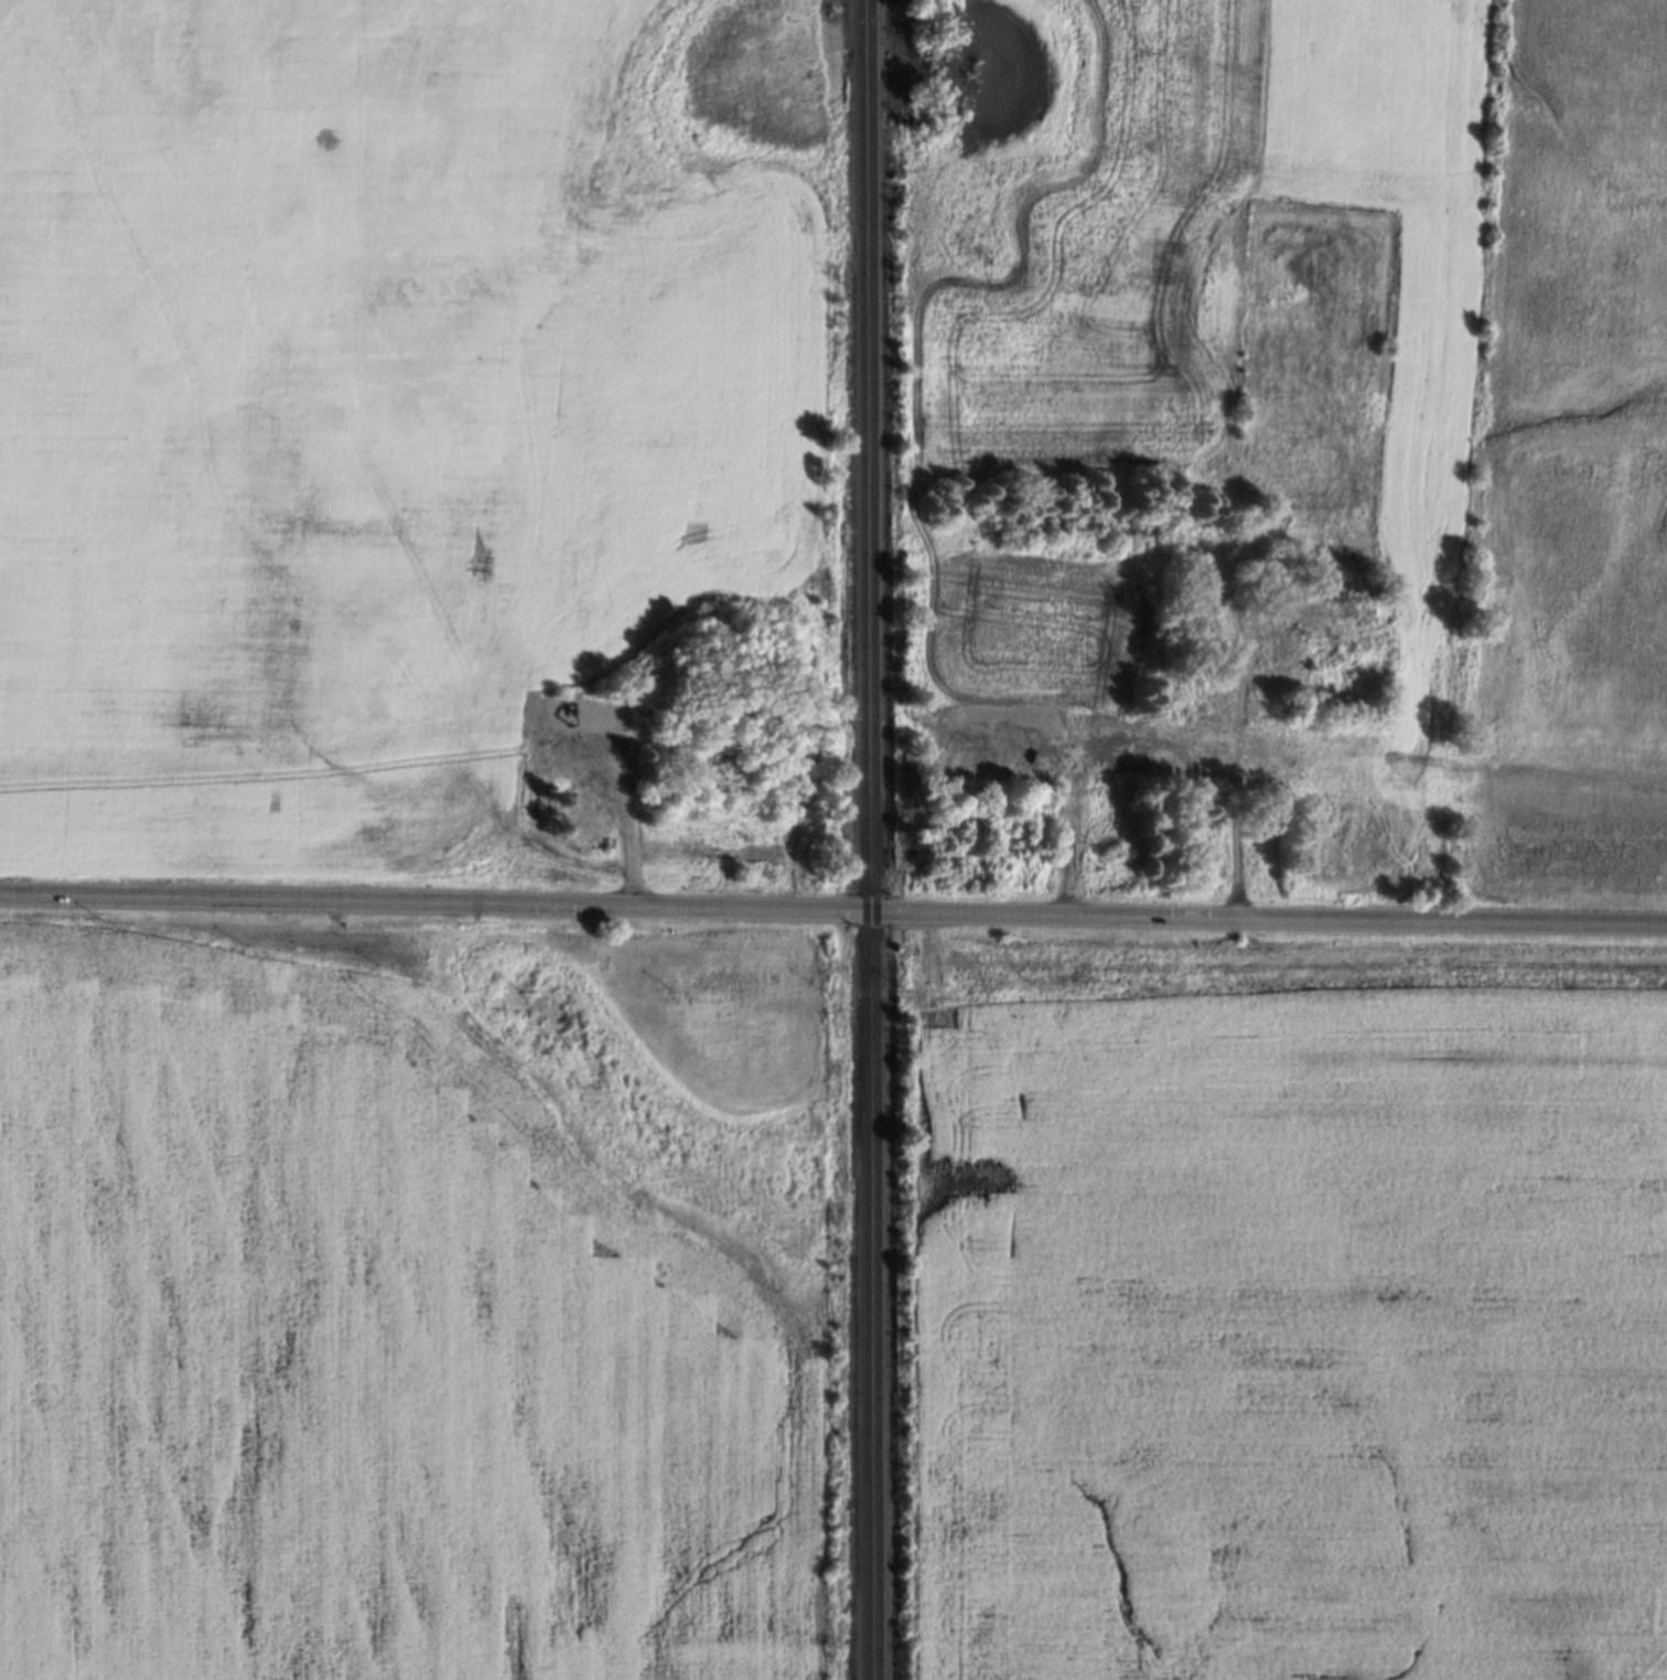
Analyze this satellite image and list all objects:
road: (1235, 766)
road: (628, 807)
railway: (863, 839)
railway: (874, 839)
road: (832, 910)
crop: (1295, 1338)
crop: (367, 1359)

